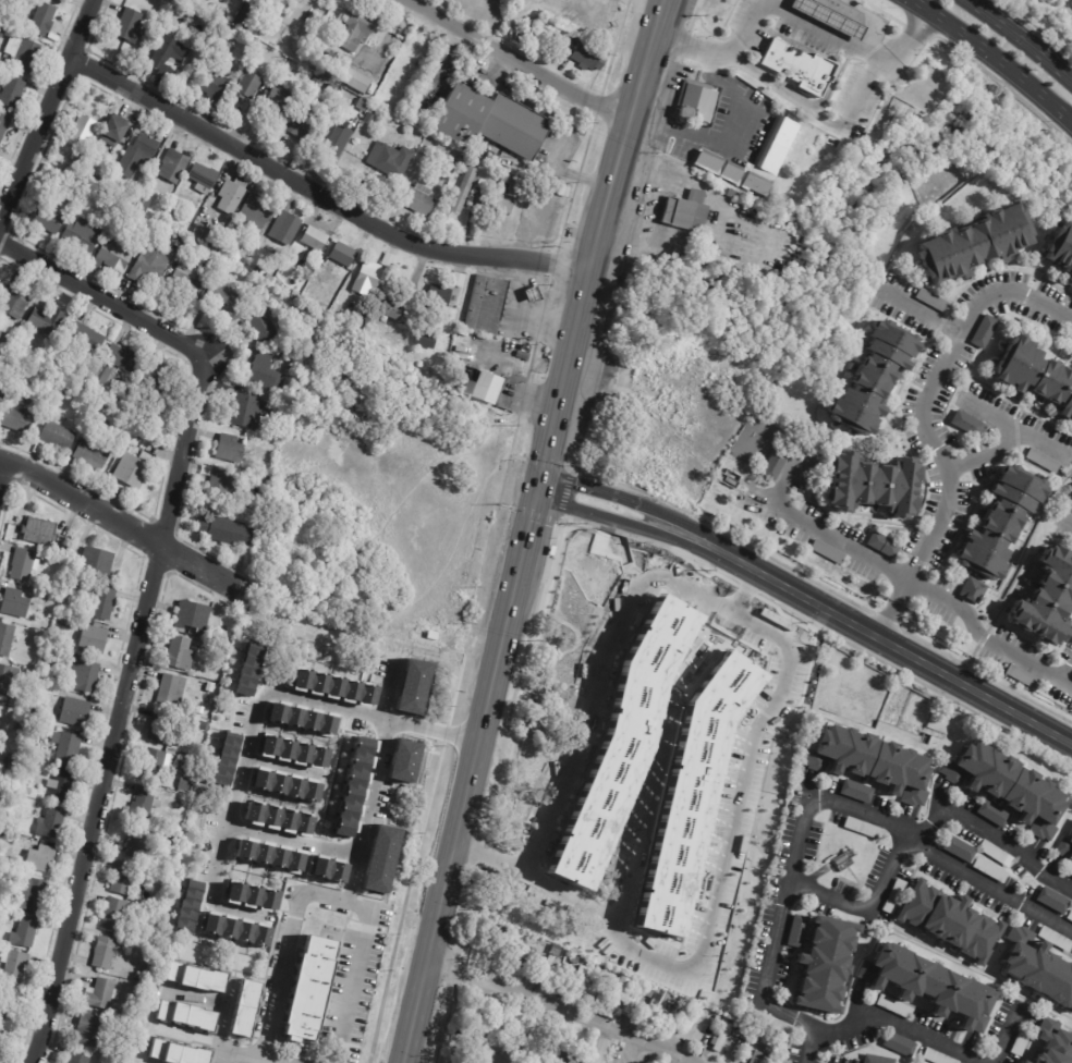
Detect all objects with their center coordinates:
building: (59, 0)
building: (62, 0)
building: (514, 0)
road: (775, 3)
building: (811, 10)
building: (251, 13)
road: (791, 16)
road: (658, 17)
road: (867, 19)
building: (45, 20)
building: (132, 26)
building: (358, 28)
road: (1022, 38)
building: (230, 47)
road: (649, 48)
building: (26, 56)
road: (994, 57)
building: (170, 59)
building: (589, 59)
road: (515, 60)
building: (332, 62)
building: (709, 64)
building: (796, 66)
building: (220, 76)
building: (319, 81)
road: (833, 81)
building: (358, 82)
building: (249, 84)
building: (334, 89)
building: (14, 91)
building: (279, 100)
building: (697, 101)
road: (816, 113)
road: (47, 115)
building: (368, 119)
building: (490, 120)
road: (747, 122)
building: (4, 124)
building: (302, 127)
building: (114, 132)
building: (83, 133)
building: (338, 136)
building: (773, 152)
building: (141, 154)
building: (81, 158)
building: (390, 160)
building: (89, 163)
building: (443, 163)
building: (174, 169)
building: (413, 170)
building: (461, 171)
building: (205, 179)
building: (97, 180)
building: (149, 181)
building: (514, 186)
building: (146, 191)
building: (464, 191)
building: (728, 192)
road: (320, 194)
building: (233, 196)
building: (129, 197)
building: (418, 199)
building: (143, 203)
building: (521, 204)
building: (747, 204)
building: (114, 207)
building: (474, 207)
building: (510, 208)
building: (263, 210)
building: (684, 210)
building: (134, 216)
building: (171, 216)
building: (47, 220)
building: (288, 223)
building: (82, 235)
building: (206, 236)
building: (316, 239)
building: (972, 243)
building: (1060, 248)
building: (345, 255)
building: (113, 258)
building: (150, 265)
building: (258, 269)
road: (587, 278)
building: (190, 279)
building: (369, 280)
building: (459, 280)
building: (297, 294)
building: (441, 296)
building: (226, 297)
building: (930, 300)
building: (16, 304)
building: (330, 305)
building: (487, 305)
building: (395, 309)
road: (923, 310)
building: (47, 322)
building: (263, 326)
building: (983, 330)
building: (1, 337)
building: (87, 338)
building: (7, 339)
building: (426, 341)
building: (1, 358)
building: (119, 364)
building: (20, 366)
building: (1, 371)
building: (268, 375)
building: (1034, 375)
building: (870, 378)
building: (160, 380)
building: (486, 388)
road: (929, 392)
building: (27, 402)
building: (249, 413)
building: (20, 420)
building: (100, 421)
building: (964, 423)
building: (56, 439)
road: (1006, 440)
road: (1037, 440)
building: (232, 450)
building: (95, 454)
building: (1040, 460)
building: (772, 464)
road: (2, 467)
building: (132, 472)
traffic signals: (540, 475)
building: (222, 485)
building: (872, 485)
road: (595, 490)
traffic signals: (535, 497)
building: (239, 505)
road: (619, 520)
road: (122, 522)
building: (999, 522)
road: (678, 523)
road: (803, 525)
road: (1069, 527)
railway: (538, 529)
building: (227, 531)
building: (41, 534)
building: (881, 545)
building: (826, 551)
road: (521, 558)
building: (99, 563)
building: (25, 564)
building: (122, 564)
building: (971, 589)
road: (148, 596)
building: (1045, 600)
building: (17, 602)
building: (106, 603)
road: (964, 614)
building: (196, 616)
building: (72, 623)
building: (233, 627)
building: (7, 638)
building: (94, 638)
road: (888, 642)
building: (182, 653)
building: (248, 670)
building: (84, 675)
road: (597, 676)
building: (1021, 676)
road: (1069, 677)
building: (9, 680)
building: (412, 686)
building: (211, 688)
building: (173, 689)
road: (264, 698)
building: (0, 707)
building: (206, 709)
building: (73, 711)
building: (21, 725)
building: (165, 726)
building: (626, 732)
building: (66, 748)
building: (294, 748)
building: (226, 759)
building: (404, 759)
building: (11, 762)
building: (867, 762)
building: (156, 765)
building: (48, 770)
building: (287, 784)
building: (354, 785)
building: (63, 786)
building: (1006, 786)
building: (853, 791)
building: (689, 794)
road: (808, 798)
building: (19, 804)
building: (145, 804)
building: (991, 814)
building: (279, 816)
building: (52, 822)
building: (860, 827)
road: (922, 840)
building: (138, 841)
road: (456, 841)
road: (361, 843)
building: (1065, 847)
building: (957, 848)
building: (994, 853)
building: (269, 855)
building: (381, 857)
building: (41, 858)
building: (843, 860)
building: (195, 865)
building: (329, 868)
building: (988, 870)
building: (124, 878)
road: (354, 879)
road: (719, 884)
building: (32, 893)
building: (251, 895)
road: (322, 895)
building: (892, 896)
building: (1051, 901)
building: (188, 908)
building: (1069, 915)
building: (115, 916)
building: (947, 921)
building: (26, 932)
building: (1057, 940)
building: (513, 950)
building: (552, 951)
building: (106, 953)
building: (529, 955)
building: (571, 960)
building: (818, 961)
building: (547, 964)
building: (15, 966)
building: (1036, 970)
building: (575, 978)
building: (197, 979)
building: (925, 988)
building: (309, 990)
building: (103, 994)
building: (616, 999)
building: (10, 1004)
building: (649, 1005)
road: (561, 1006)
building: (245, 1009)
building: (668, 1010)
building: (673, 1014)
building: (188, 1015)
building: (662, 1018)
building: (683, 1018)
building: (715, 1018)
road: (224, 1019)
road: (898, 1024)
building: (0, 1027)
building: (90, 1028)
building: (491, 1033)
building: (745, 1033)
building: (1, 1034)
building: (503, 1037)
building: (719, 1037)
road: (1006, 1039)
building: (1018, 1043)
building: (1052, 1043)
building: (897, 1044)
road: (630, 1050)
building: (599, 1051)
building: (180, 1053)
road: (216, 1055)
building: (754, 1058)
building: (935, 1058)
building: (81, 1059)
building: (562, 1059)
building: (873, 1060)
building: (1018, 1062)
building: (1022, 1062)

